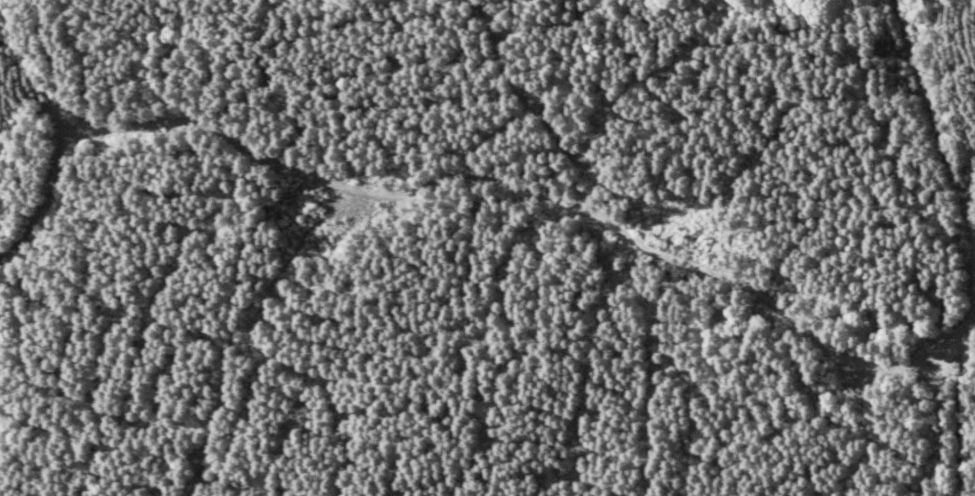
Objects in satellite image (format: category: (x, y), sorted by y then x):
road: (950, 48)
road: (974, 495)

